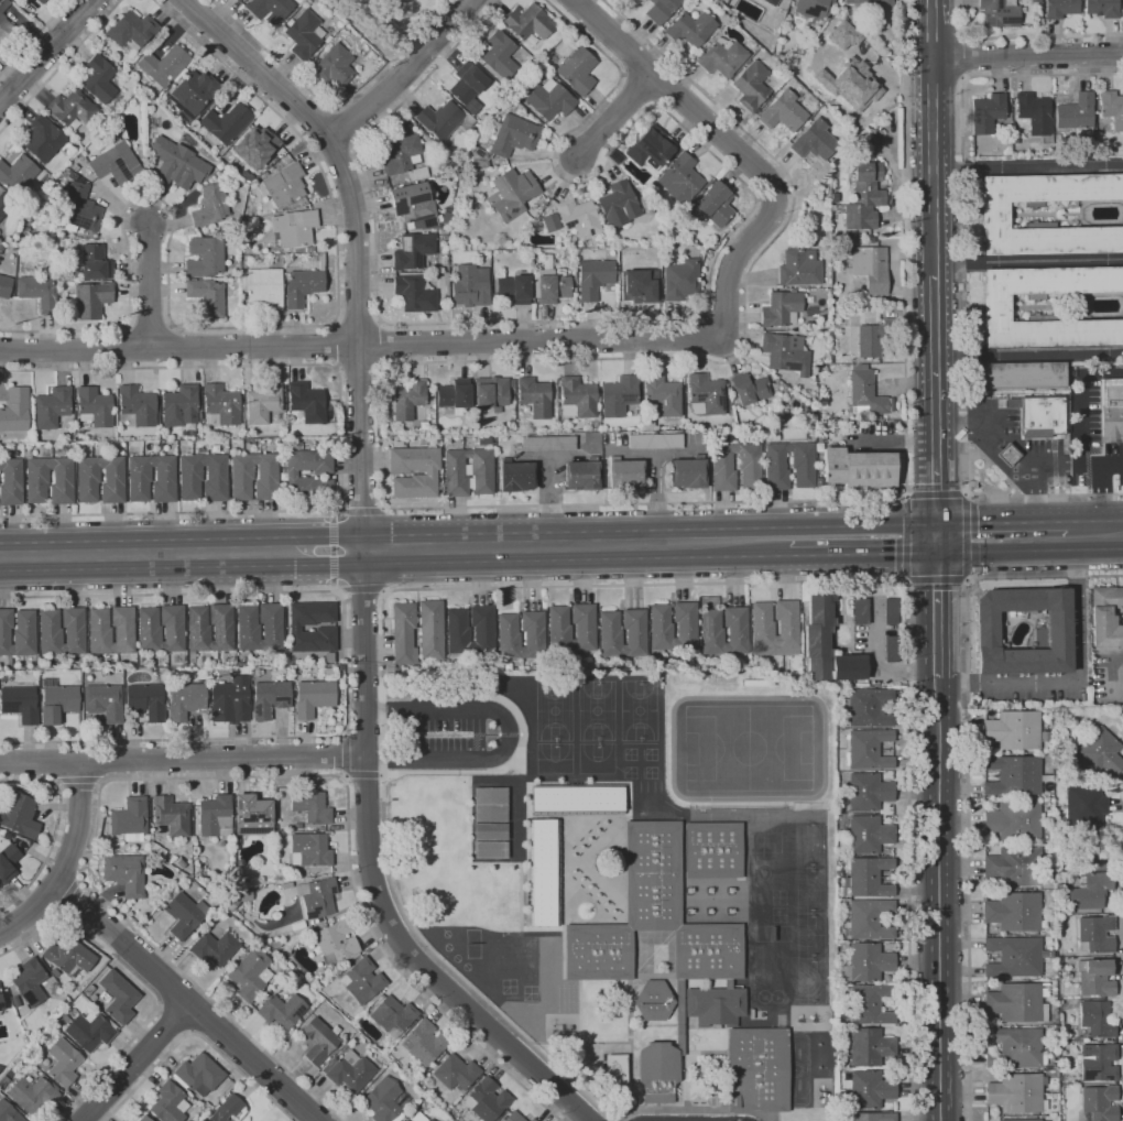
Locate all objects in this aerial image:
building: (236, 0)
building: (237, 0)
building: (647, 0)
building: (41, 1)
building: (771, 2)
building: (870, 2)
building: (719, 4)
building: (813, 8)
building: (1060, 8)
building: (1101, 8)
building: (269, 10)
building: (661, 10)
building: (997, 13)
park: (388, 22)
building: (527, 22)
building: (7, 28)
building: (690, 29)
building: (131, 32)
building: (304, 34)
building: (842, 34)
road: (34, 37)
road: (1025, 37)
building: (95, 40)
road: (46, 51)
building: (499, 54)
building: (722, 57)
road: (967, 58)
road: (1027, 58)
building: (163, 65)
building: (332, 65)
road: (61, 66)
building: (577, 70)
road: (404, 74)
building: (98, 79)
building: (530, 81)
building: (467, 84)
building: (751, 85)
building: (851, 85)
building: (515, 94)
building: (193, 95)
road: (679, 96)
building: (549, 100)
building: (512, 104)
road: (332, 107)
building: (72, 108)
building: (1111, 108)
building: (783, 112)
building: (986, 113)
building: (1033, 113)
building: (1076, 115)
road: (615, 116)
building: (103, 117)
building: (497, 118)
building: (439, 120)
road: (348, 122)
building: (225, 123)
road: (317, 123)
road: (933, 137)
building: (44, 140)
building: (477, 140)
building: (503, 141)
building: (814, 141)
building: (255, 146)
building: (650, 149)
road: (335, 151)
building: (403, 157)
building: (285, 160)
building: (116, 163)
building: (177, 163)
road: (1028, 166)
building: (74, 167)
building: (17, 174)
building: (72, 175)
building: (680, 178)
building: (283, 185)
building: (512, 194)
building: (865, 195)
building: (833, 198)
building: (412, 202)
building: (4, 205)
building: (619, 205)
building: (712, 205)
building: (210, 206)
building: (78, 209)
building: (805, 215)
building: (994, 215)
building: (577, 217)
building: (550, 222)
building: (293, 229)
road: (355, 235)
building: (308, 250)
building: (413, 251)
building: (566, 252)
building: (654, 252)
building: (204, 257)
building: (320, 261)
road: (1028, 261)
building: (95, 263)
building: (243, 263)
building: (799, 268)
building: (870, 268)
building: (438, 270)
building: (593, 277)
building: (680, 280)
building: (550, 284)
road: (149, 285)
building: (4, 286)
building: (470, 286)
building: (264, 287)
building: (302, 287)
road: (964, 287)
building: (515, 289)
building: (37, 292)
building: (414, 294)
building: (207, 297)
building: (91, 300)
building: (246, 307)
building: (995, 307)
building: (781, 309)
road: (670, 319)
road: (358, 320)
road: (241, 327)
building: (873, 338)
road: (435, 342)
road: (336, 345)
road: (1028, 350)
building: (785, 353)
road: (359, 369)
road: (1101, 373)
building: (1024, 374)
building: (749, 389)
building: (491, 392)
building: (864, 392)
building: (511, 393)
building: (454, 394)
building: (662, 394)
building: (705, 395)
building: (534, 396)
building: (618, 396)
building: (577, 398)
building: (407, 400)
road: (936, 400)
building: (263, 402)
building: (307, 402)
building: (137, 405)
building: (220, 405)
building: (92, 406)
building: (179, 406)
building: (51, 407)
building: (14, 410)
building: (494, 410)
building: (1112, 410)
building: (1040, 417)
building: (647, 423)
building: (436, 432)
building: (775, 437)
road: (341, 438)
road: (894, 440)
building: (654, 442)
road: (1080, 442)
building: (546, 444)
road: (1013, 445)
gas station: (1014, 447)
building: (1007, 455)
building: (591, 457)
building: (803, 460)
building: (749, 461)
road: (1090, 466)
building: (481, 467)
building: (858, 468)
building: (241, 472)
building: (429, 472)
building: (688, 472)
building: (190, 474)
building: (88, 475)
building: (139, 475)
building: (582, 475)
building: (624, 475)
building: (36, 476)
building: (291, 476)
building: (515, 476)
building: (10, 482)
road: (1101, 482)
traffic signals: (937, 489)
road: (964, 507)
road: (417, 508)
road: (361, 511)
road: (1112, 520)
road: (1020, 523)
traffic signals: (974, 524)
road: (650, 531)
road: (263, 538)
road: (938, 538)
road: (83, 543)
road: (1029, 549)
road: (362, 551)
road: (331, 552)
road: (862, 554)
traffic signals: (894, 554)
road: (574, 559)
road: (263, 566)
road: (905, 567)
road: (81, 572)
road: (606, 585)
traffic signals: (938, 586)
road: (363, 587)
building: (861, 611)
building: (890, 611)
building: (1105, 617)
building: (294, 627)
building: (762, 627)
building: (430, 630)
building: (661, 630)
building: (17, 632)
building: (248, 632)
building: (559, 632)
building: (149, 633)
building: (198, 633)
building: (403, 633)
building: (457, 634)
building: (99, 635)
building: (711, 635)
building: (50, 636)
building: (610, 638)
building: (1054, 638)
building: (509, 640)
building: (826, 644)
building: (891, 649)
road: (1111, 654)
road: (345, 664)
building: (1121, 678)
road: (1076, 683)
building: (269, 697)
building: (313, 697)
building: (184, 699)
building: (230, 700)
building: (56, 701)
building: (103, 701)
building: (145, 701)
building: (20, 704)
building: (865, 707)
building: (1013, 730)
road: (509, 733)
park: (749, 748)
building: (869, 749)
building: (1099, 753)
road: (345, 755)
road: (227, 758)
road: (107, 760)
road: (43, 762)
road: (61, 762)
road: (968, 771)
road: (363, 774)
building: (1012, 775)
road: (207, 776)
building: (868, 792)
building: (576, 799)
road: (1122, 799)
building: (489, 804)
building: (1084, 805)
building: (310, 807)
building: (251, 810)
building: (170, 815)
building: (19, 816)
building: (214, 816)
building: (130, 819)
building: (1013, 821)
building: (297, 825)
road: (56, 828)
building: (320, 828)
building: (489, 830)
building: (868, 834)
building: (6, 836)
road: (941, 836)
park: (809, 845)
building: (1086, 848)
building: (489, 849)
building: (713, 850)
building: (309, 851)
road: (67, 859)
building: (8, 863)
building: (1015, 867)
building: (541, 872)
building: (124, 873)
building: (869, 877)
road: (375, 884)
park: (810, 890)
building: (1089, 891)
road: (69, 896)
building: (316, 897)
road: (34, 906)
building: (1013, 912)
building: (183, 914)
building: (870, 918)
building: (1094, 934)
park: (810, 935)
building: (335, 940)
building: (212, 947)
building: (708, 955)
building: (66, 956)
building: (1015, 957)
road: (145, 959)
building: (1059, 961)
building: (866, 962)
building: (249, 973)
building: (1095, 977)
building: (361, 980)
park: (811, 980)
building: (29, 981)
road: (145, 982)
building: (118, 998)
building: (653, 1001)
building: (1017, 1002)
building: (1, 1003)
building: (870, 1004)
building: (280, 1010)
building: (392, 1015)
building: (1097, 1019)
building: (89, 1031)
road: (198, 1034)
building: (317, 1040)
building: (423, 1042)
building: (1017, 1046)
building: (869, 1047)
building: (61, 1062)
road: (135, 1062)
building: (1098, 1063)
building: (0, 1066)
building: (347, 1069)
building: (615, 1069)
building: (757, 1069)
building: (454, 1071)
building: (197, 1073)
building: (869, 1089)
building: (32, 1092)
building: (1016, 1092)
building: (486, 1099)
building: (383, 1100)
building: (168, 1101)
building: (1099, 1102)
building: (225, 1109)
building: (8, 1112)
building: (417, 1117)
building: (512, 1117)
building: (873, 1117)
building: (142, 1118)
building: (531, 1119)
building: (1022, 1120)

